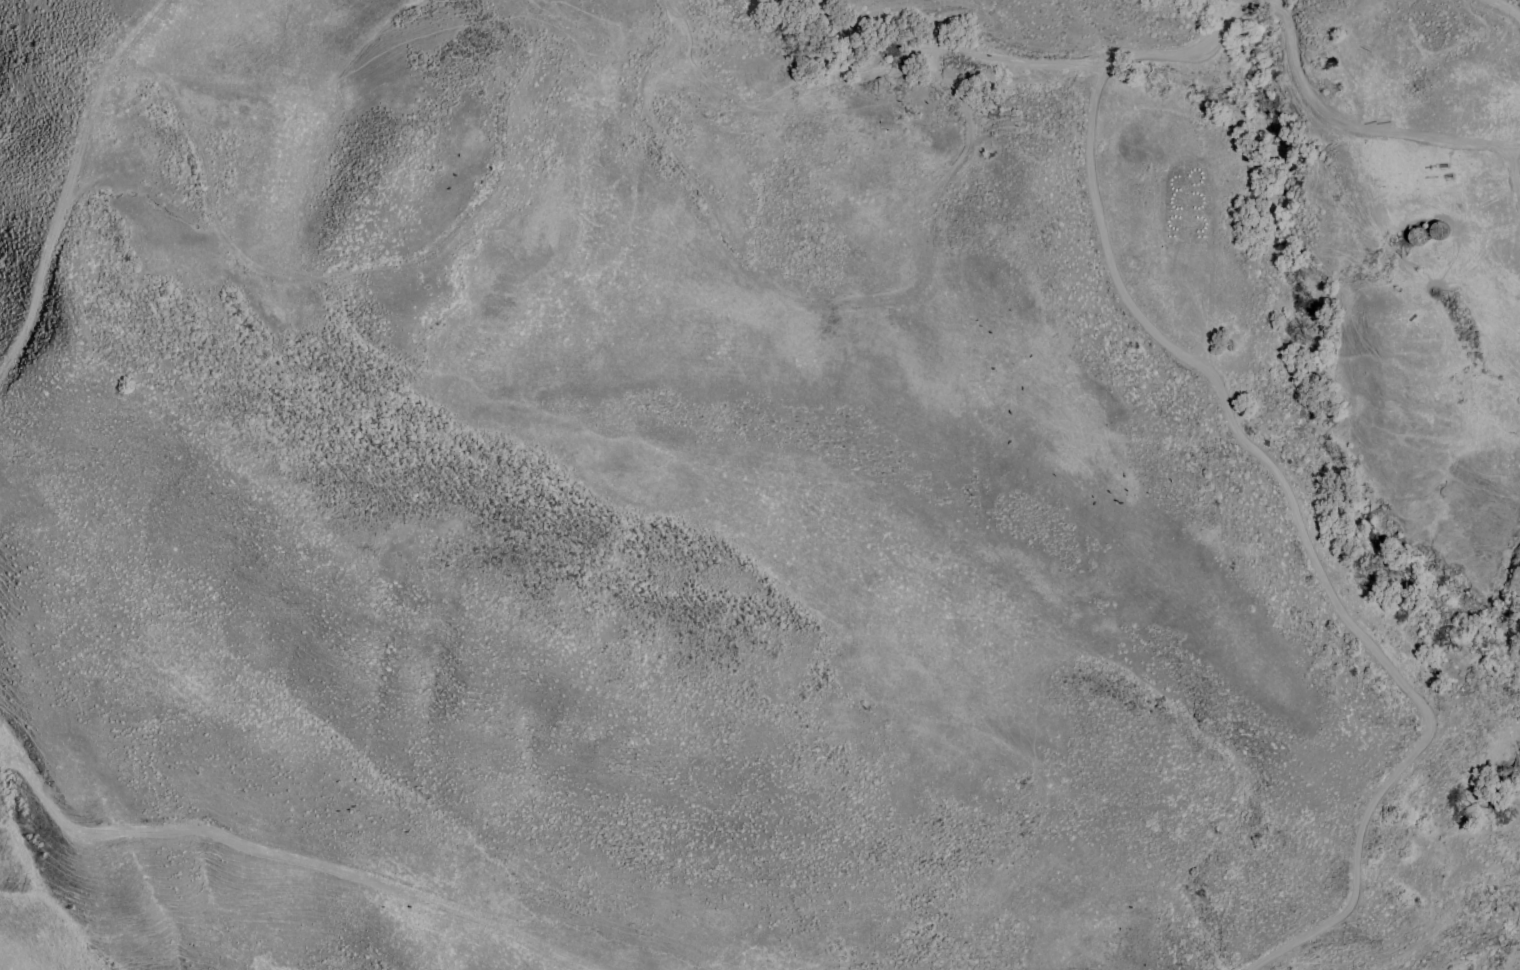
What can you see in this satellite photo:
road: (1504, 13)
road: (1512, 175)
building: (1440, 229)
building: (1419, 235)
road: (1161, 333)

